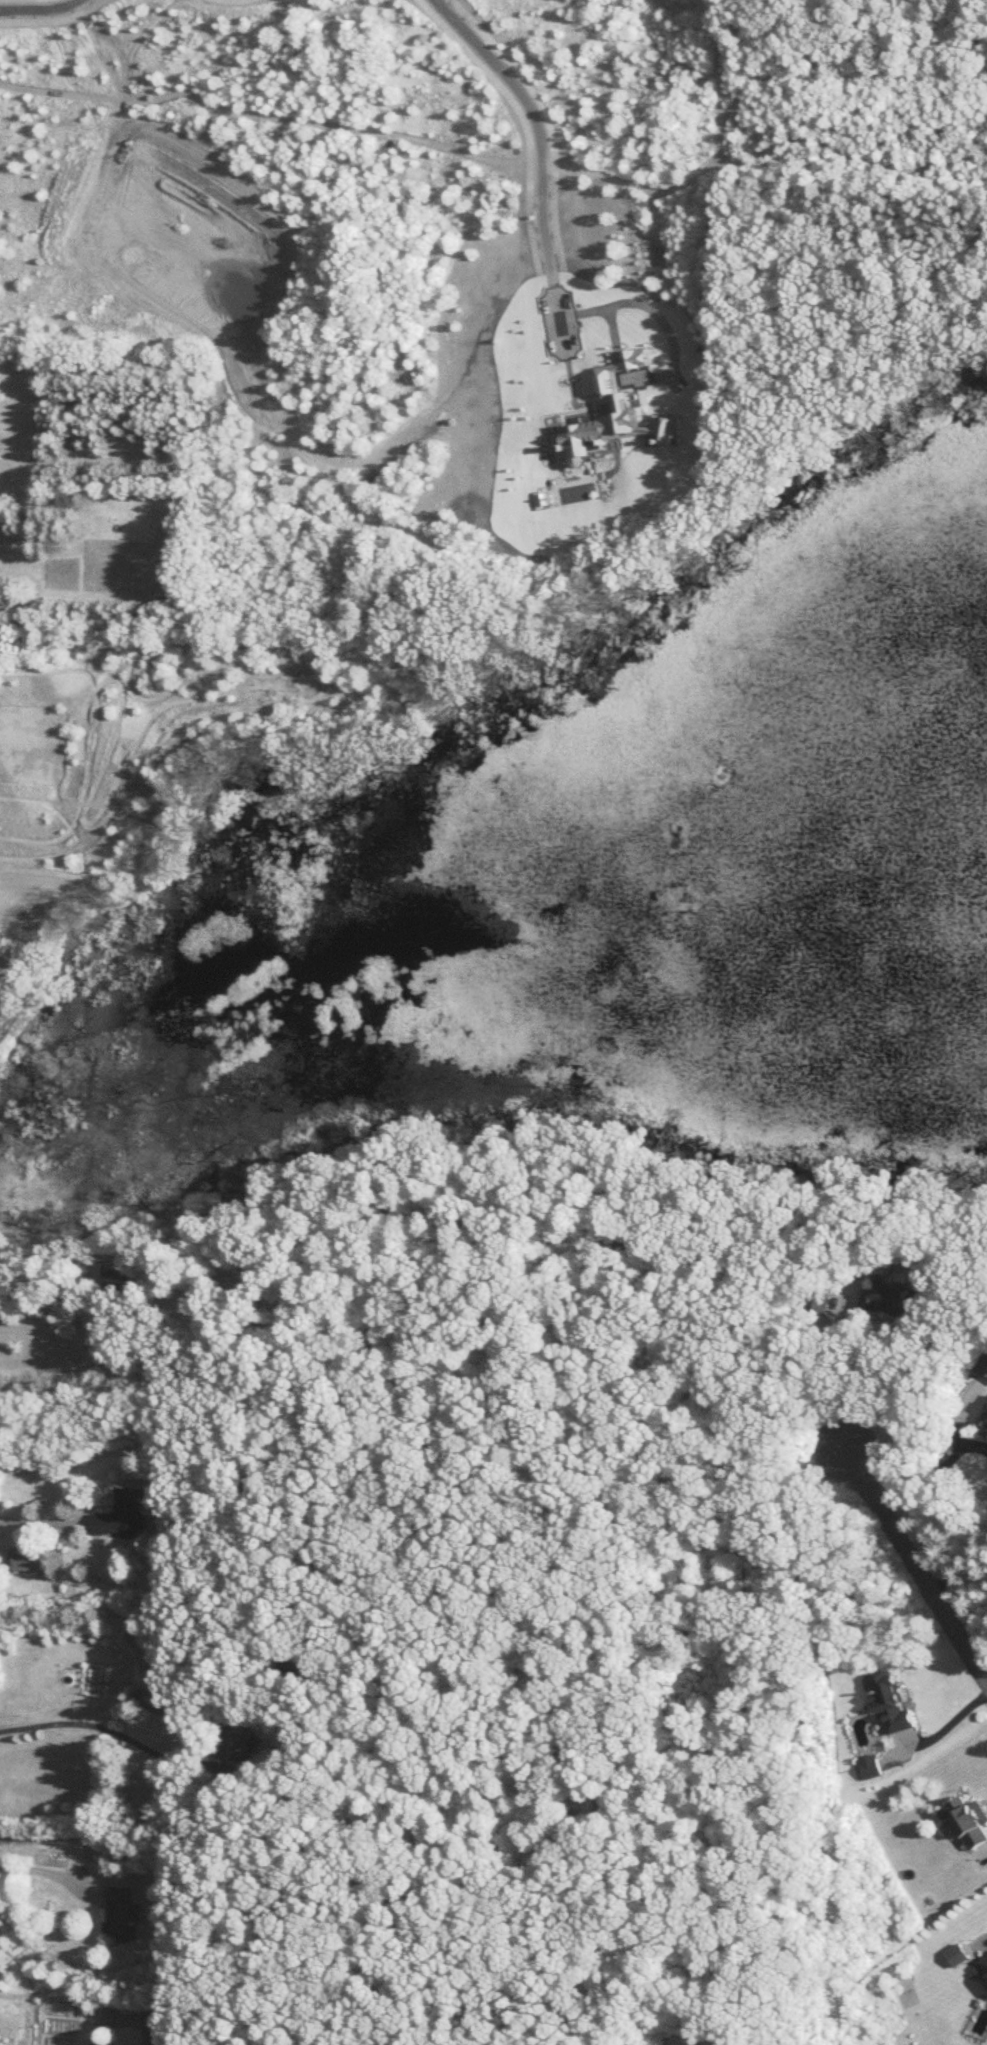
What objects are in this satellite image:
road: (41, 6)
road: (537, 135)
building: (636, 356)
building: (662, 427)
building: (600, 428)
building: (116, 1270)
building: (893, 1296)
building: (983, 1365)
road: (838, 1379)
building: (983, 1416)
road: (932, 1466)
building: (125, 1512)
road: (41, 1519)
building: (29, 1558)
road: (962, 1563)
road: (921, 1569)
building: (892, 1699)
road: (947, 1725)
road: (112, 1731)
building: (241, 1741)
building: (871, 1764)
building: (972, 1821)
road: (25, 1868)
building: (123, 1912)
road: (984, 1938)
building: (957, 1953)
building: (984, 1966)
road: (104, 2023)
building: (157, 2027)

